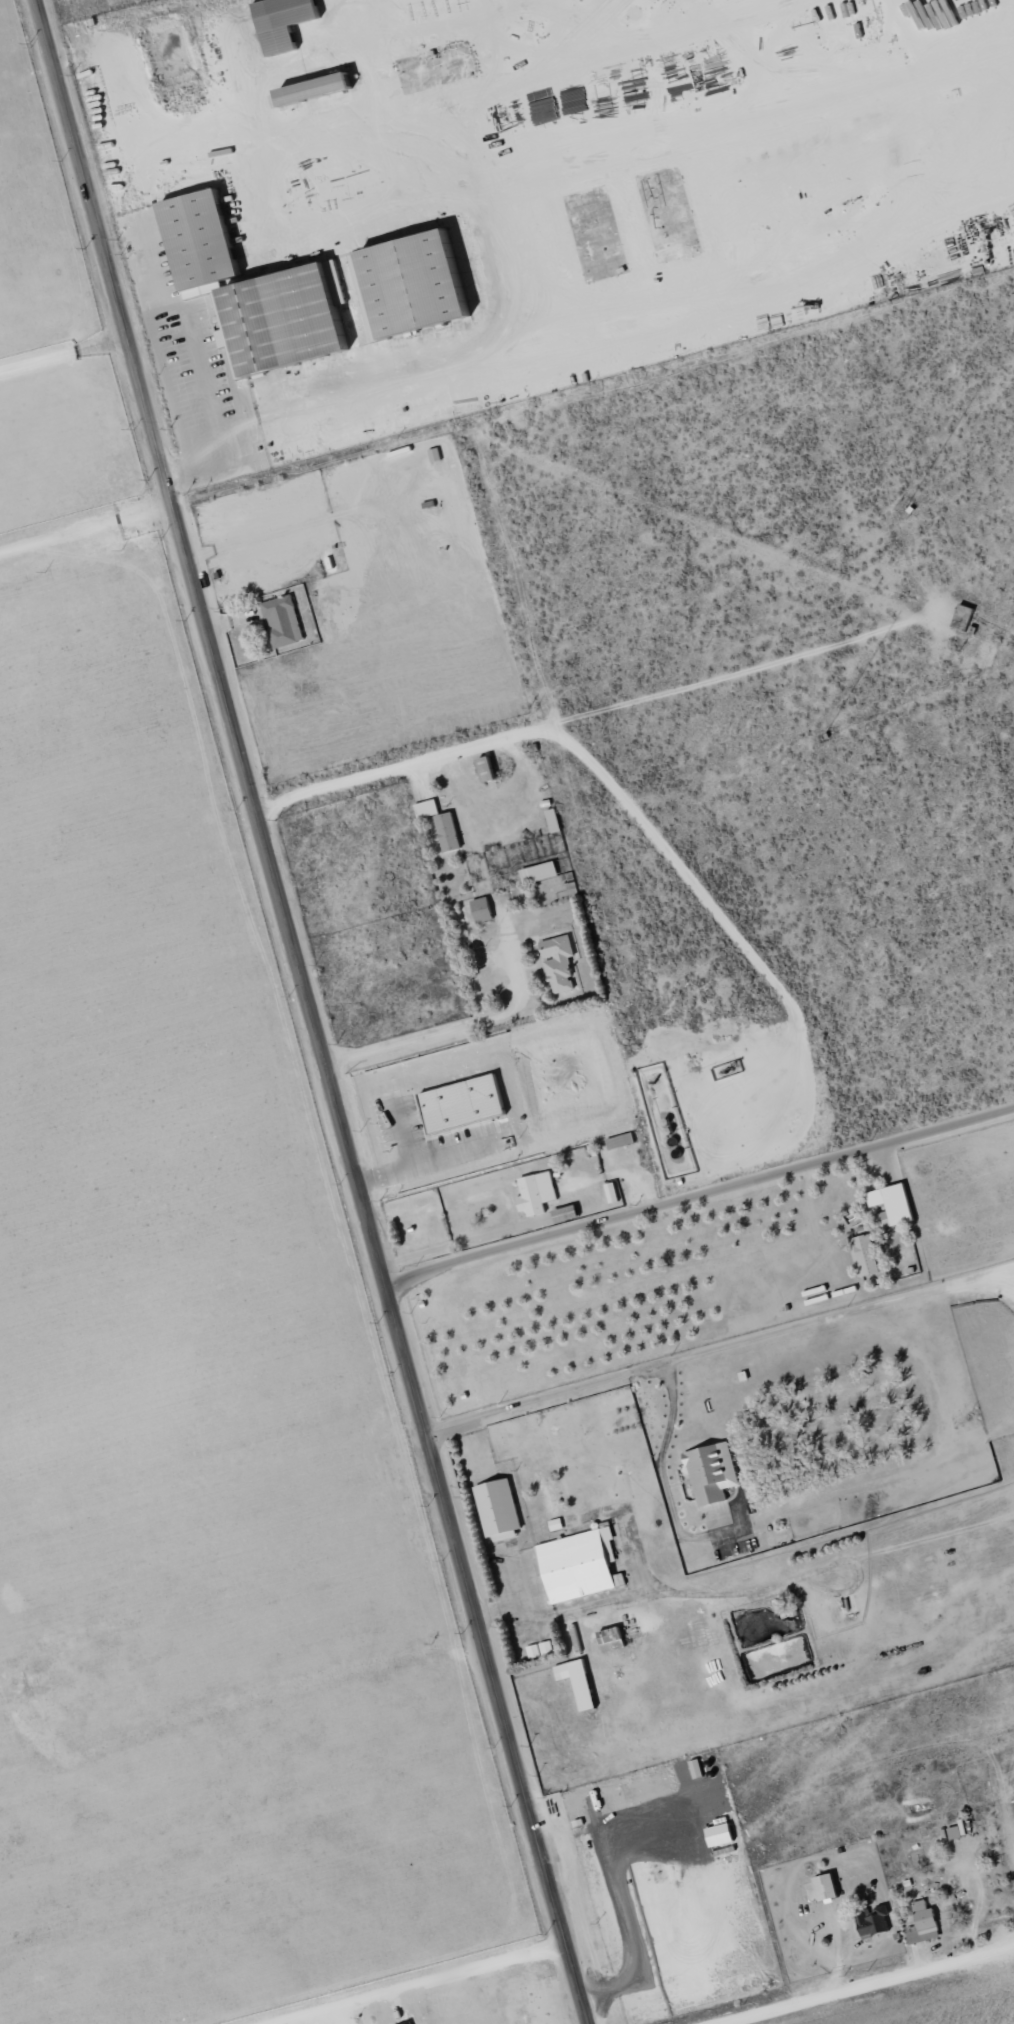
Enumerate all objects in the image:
building: (288, 21)
building: (322, 87)
building: (205, 240)
building: (424, 282)
building: (291, 318)
road: (506, 409)
building: (965, 617)
building: (285, 621)
road: (635, 810)
building: (450, 832)
building: (485, 910)
building: (561, 963)
road: (314, 1012)
road: (451, 1030)
building: (468, 1103)
building: (621, 1136)
building: (538, 1193)
road: (699, 1194)
building: (894, 1206)
building: (867, 1256)
road: (1005, 1272)
road: (1005, 1279)
road: (712, 1350)
building: (715, 1472)
building: (500, 1507)
building: (564, 1523)
building: (583, 1564)
road: (715, 1596)
building: (614, 1639)
building: (581, 1682)
building: (723, 1834)
building: (830, 1887)
building: (925, 1924)
road: (872, 1985)

